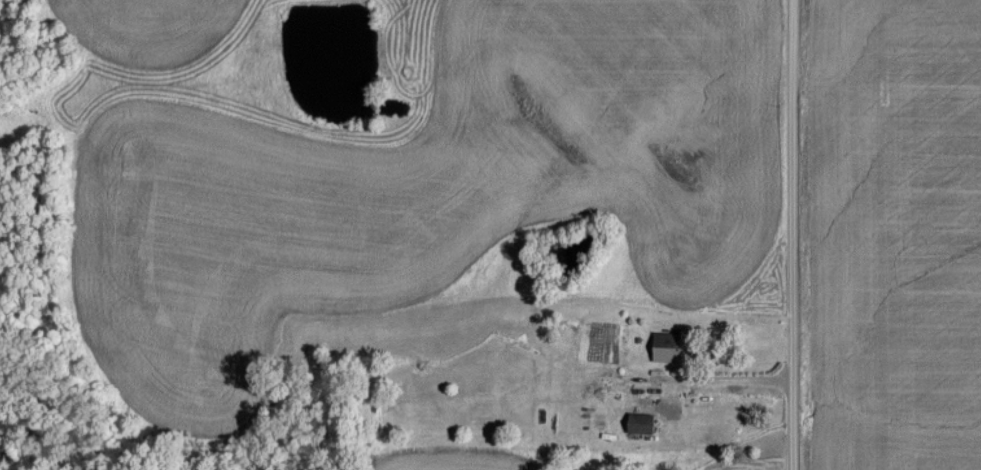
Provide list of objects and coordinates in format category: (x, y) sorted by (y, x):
road: (795, 234)
building: (663, 346)
road: (726, 379)
building: (637, 422)

